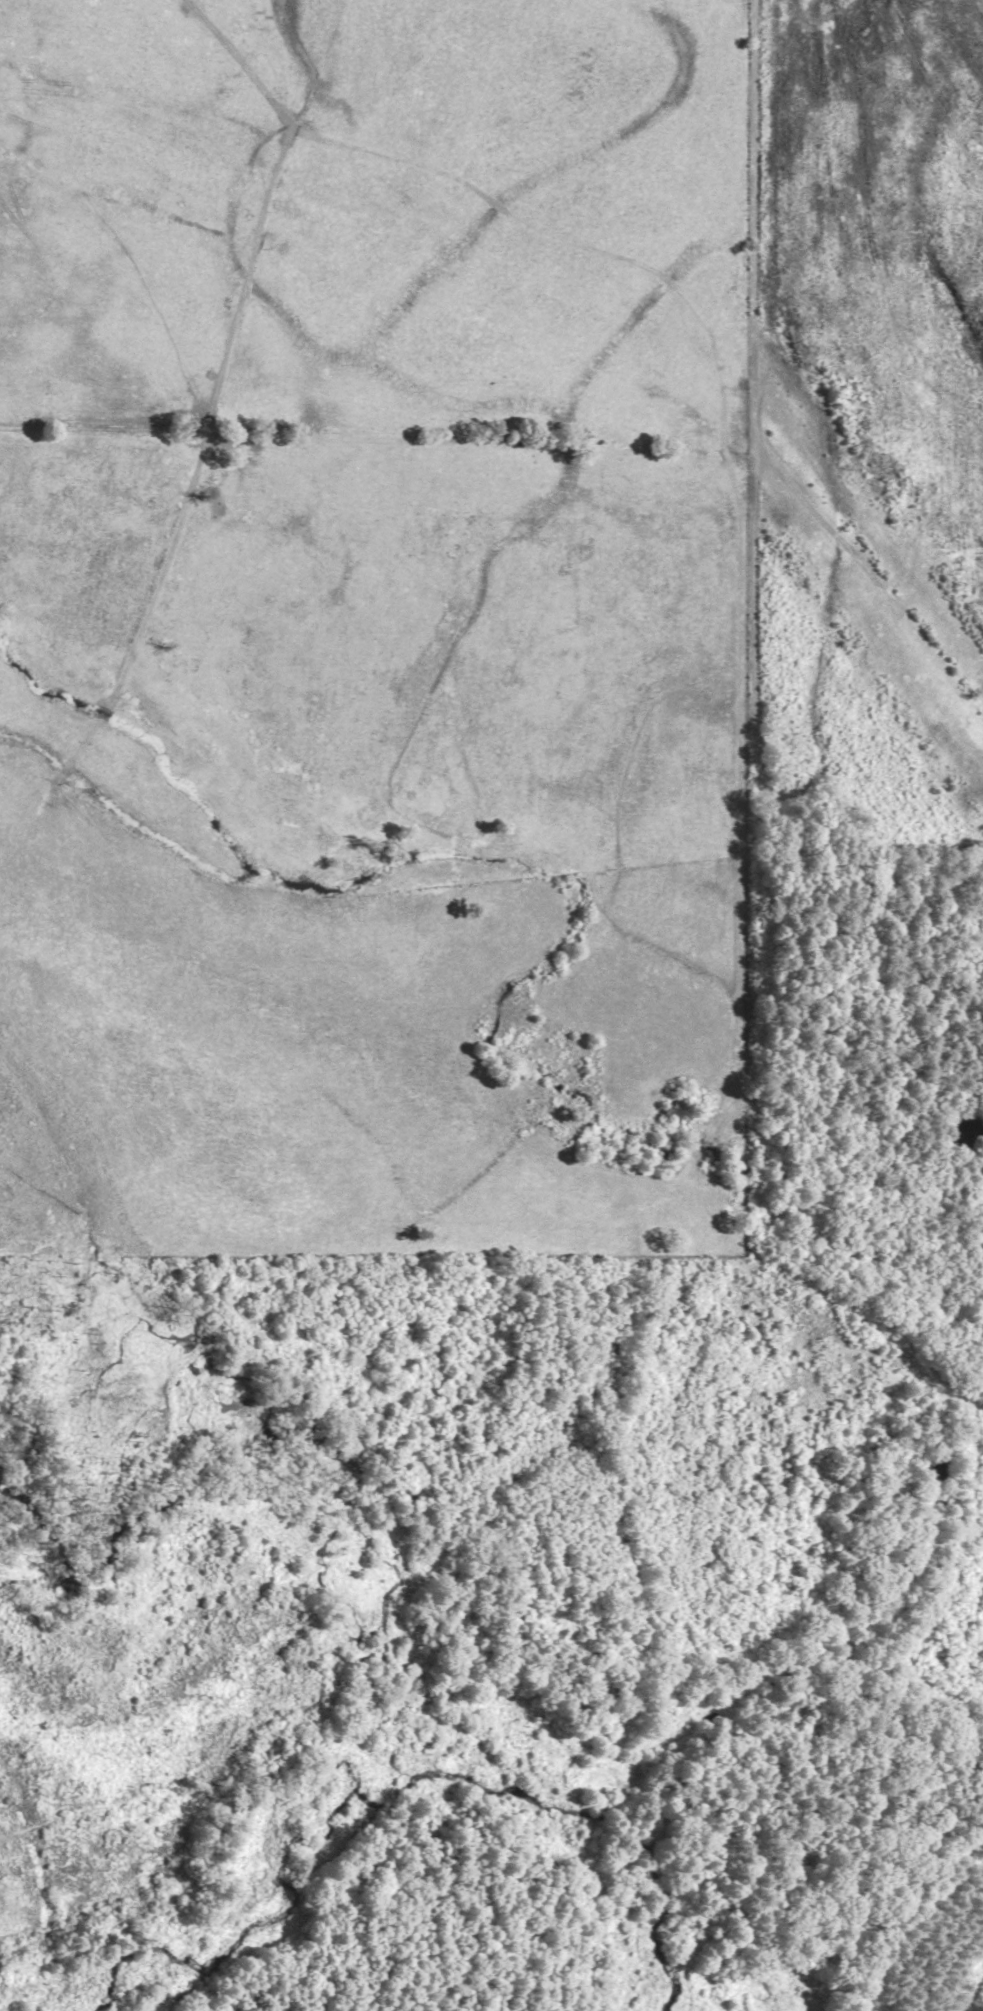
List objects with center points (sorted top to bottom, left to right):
building: (1, 1910)

